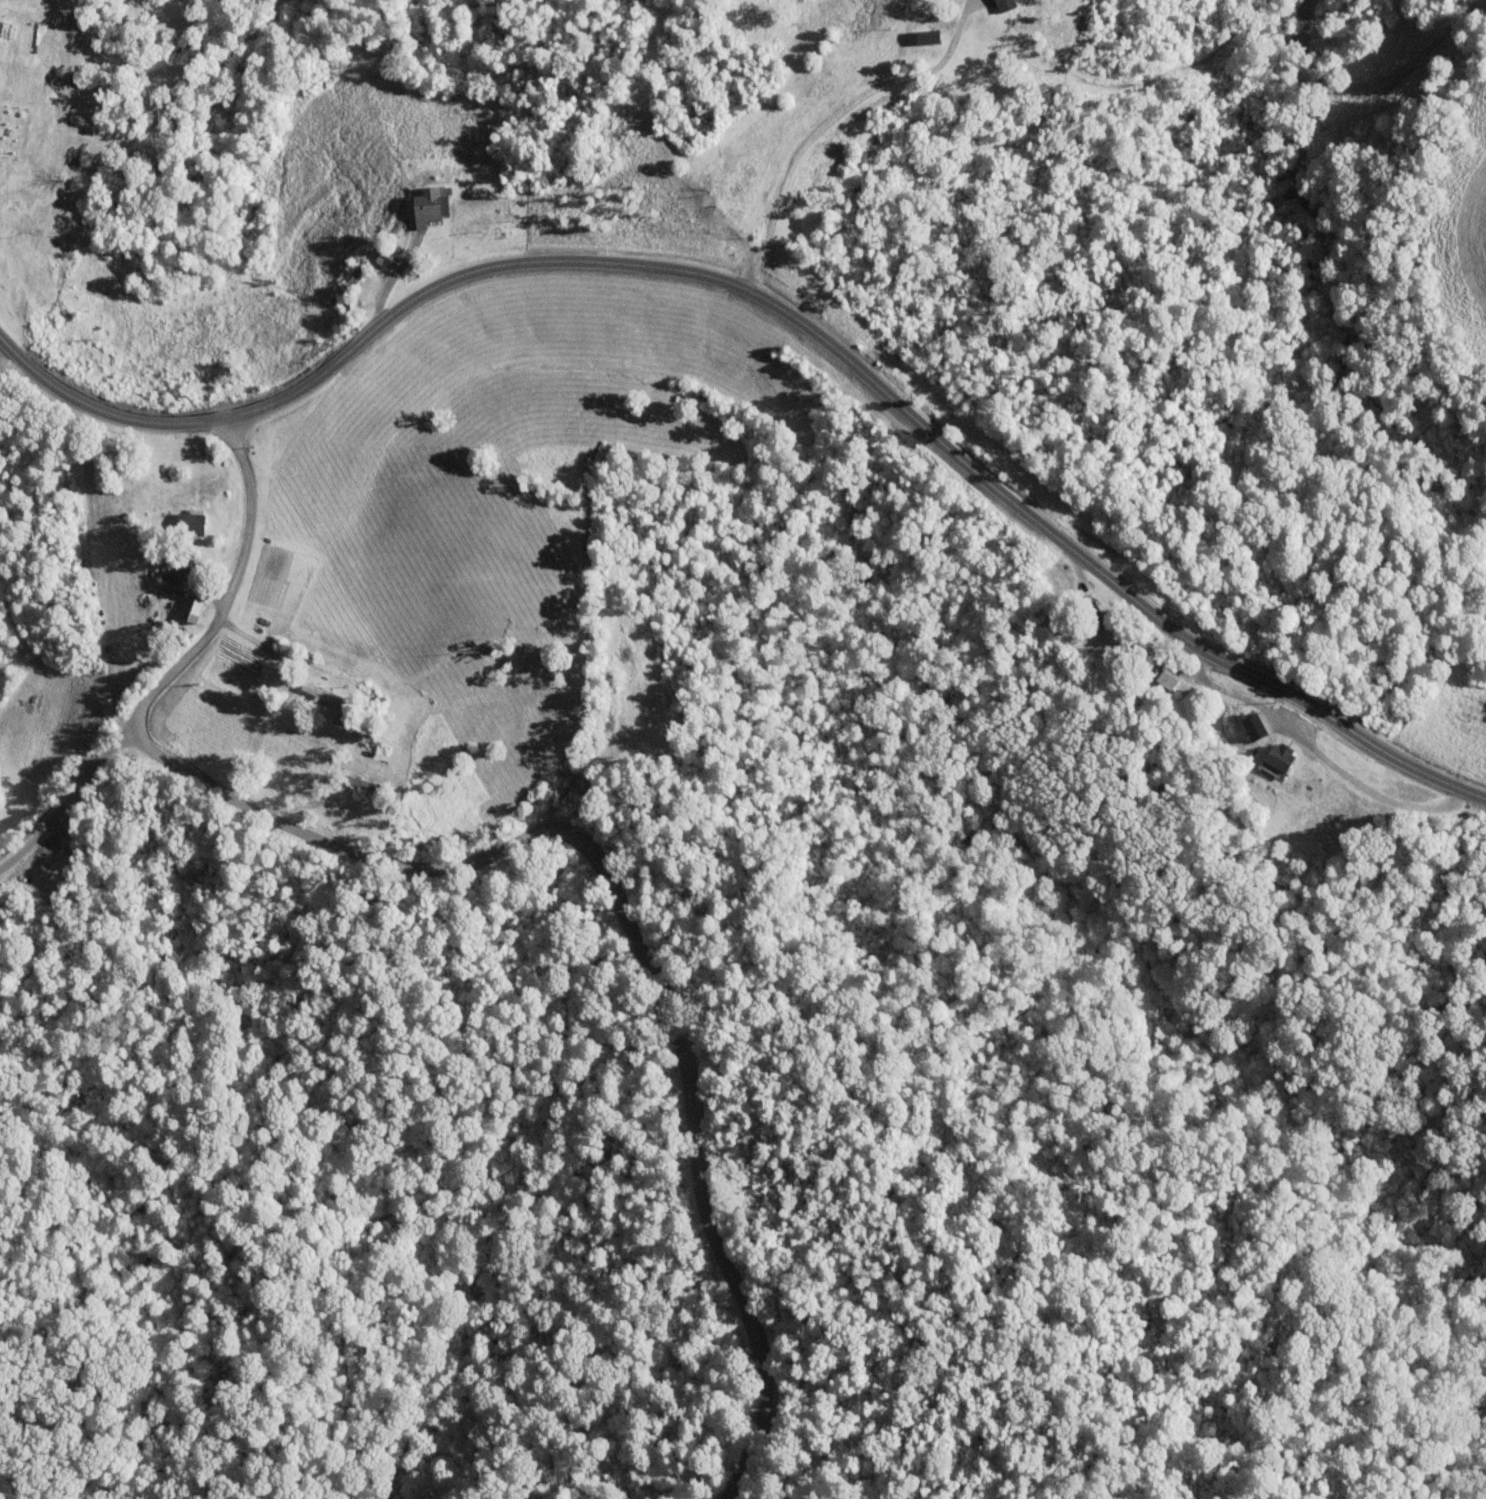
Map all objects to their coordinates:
road: (825, 120)
building: (427, 205)
building: (383, 253)
building: (354, 275)
road: (778, 307)
building: (187, 522)
building: (168, 570)
building: (189, 608)
building: (1088, 616)
building: (1132, 650)
road: (176, 661)
building: (1165, 678)
building: (311, 707)
building: (1252, 725)
building: (1277, 757)
road: (1377, 793)
road: (319, 806)
road: (633, 933)

